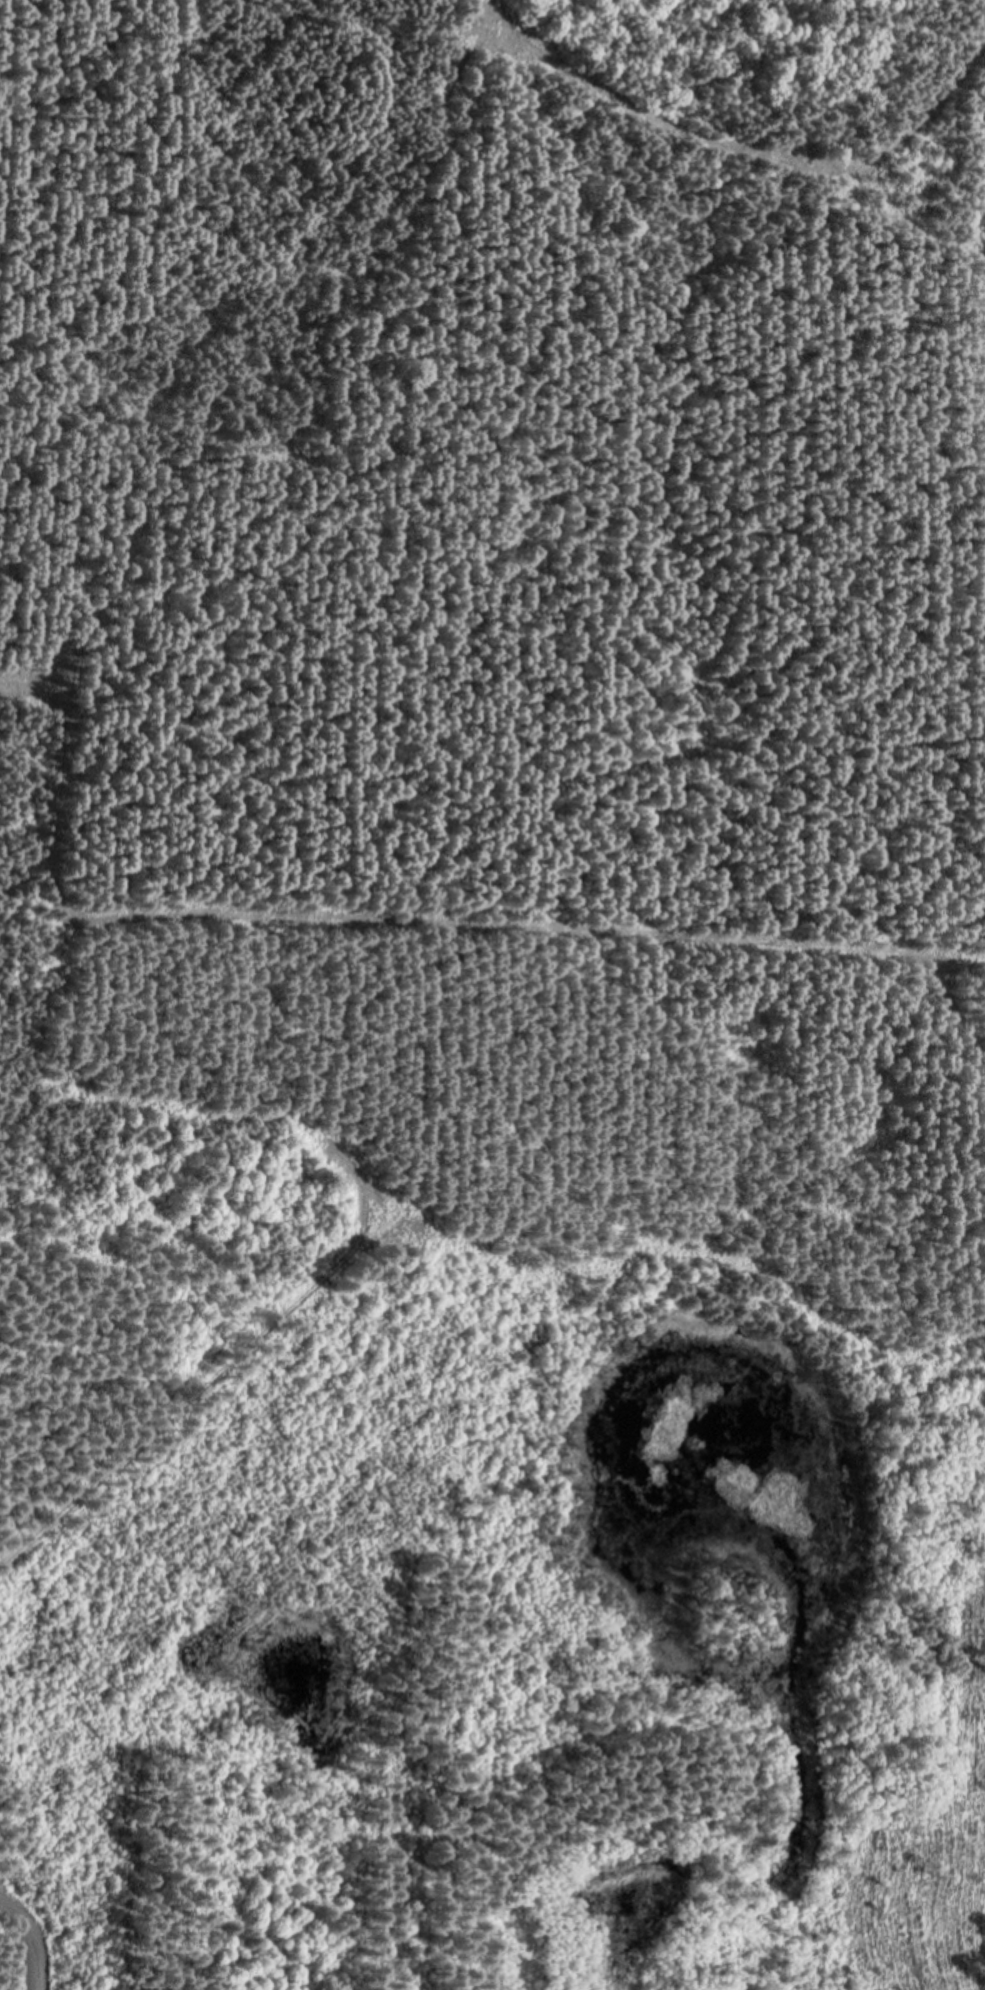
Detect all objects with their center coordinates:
road: (42, 1926)

